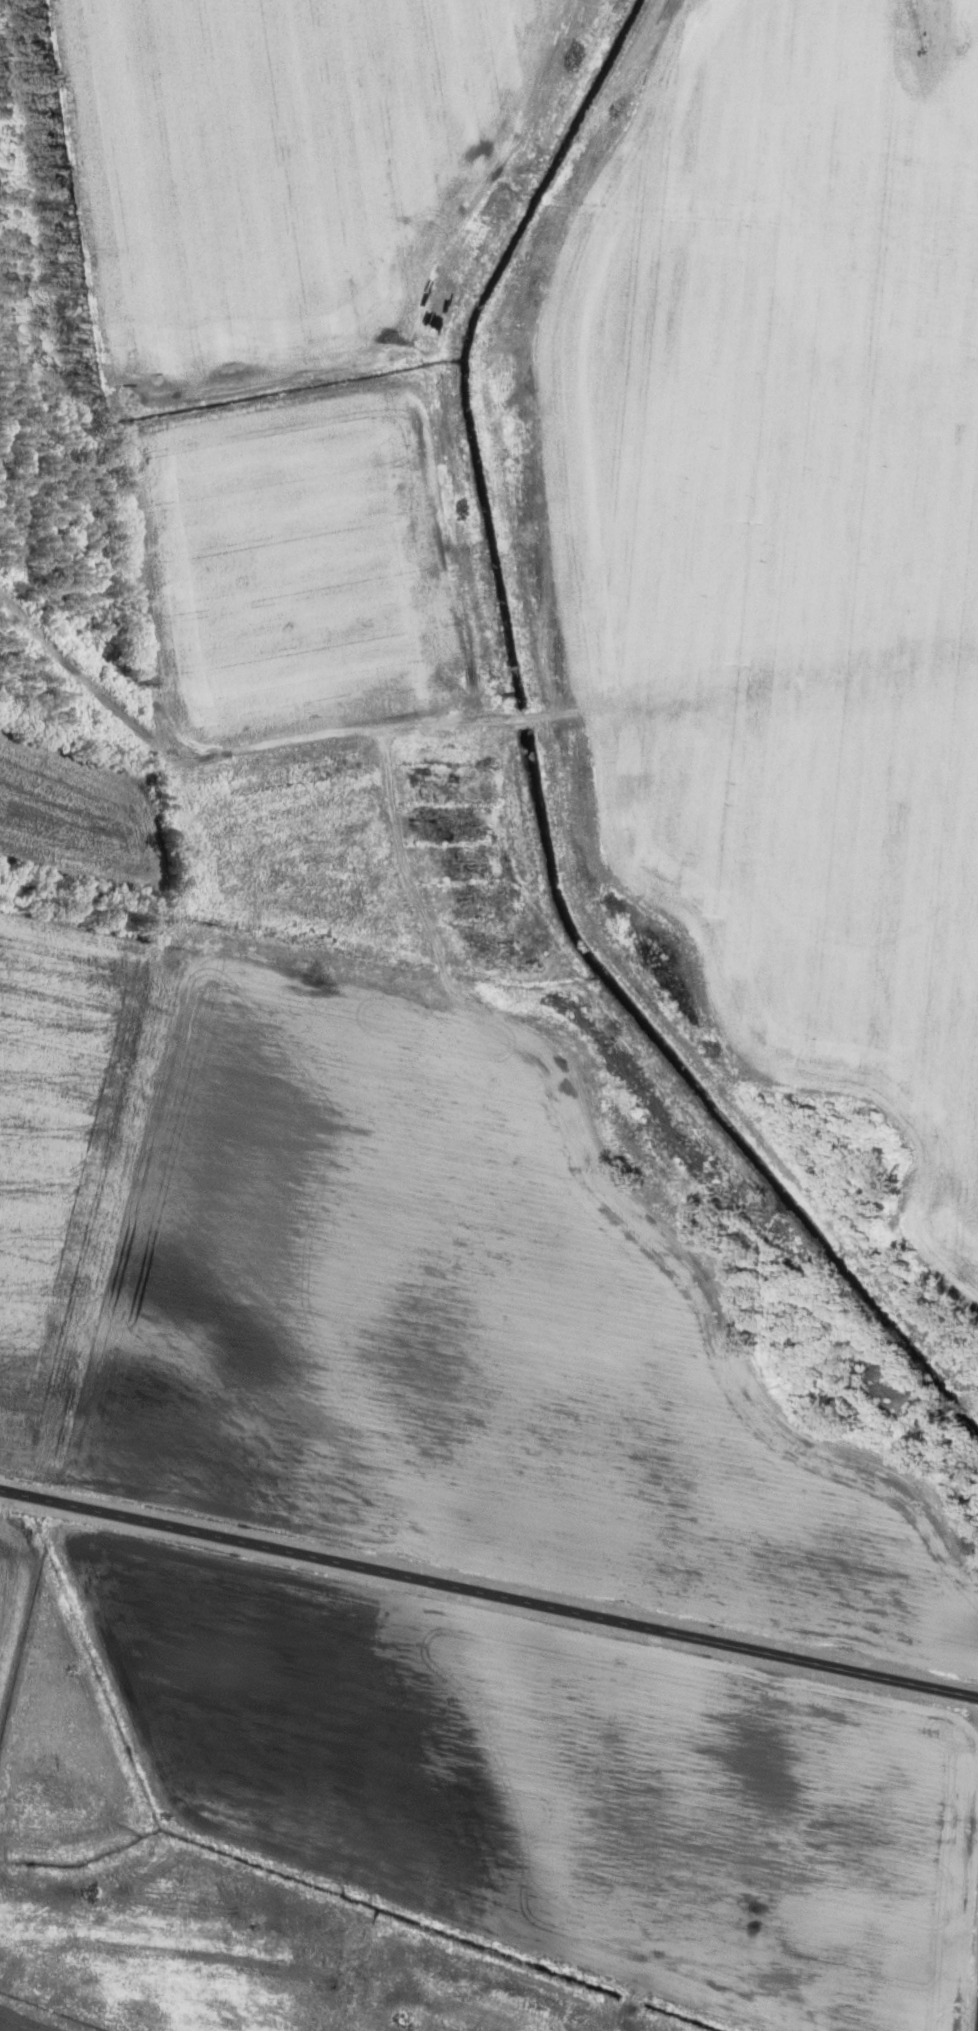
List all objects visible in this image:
road: (489, 1601)

